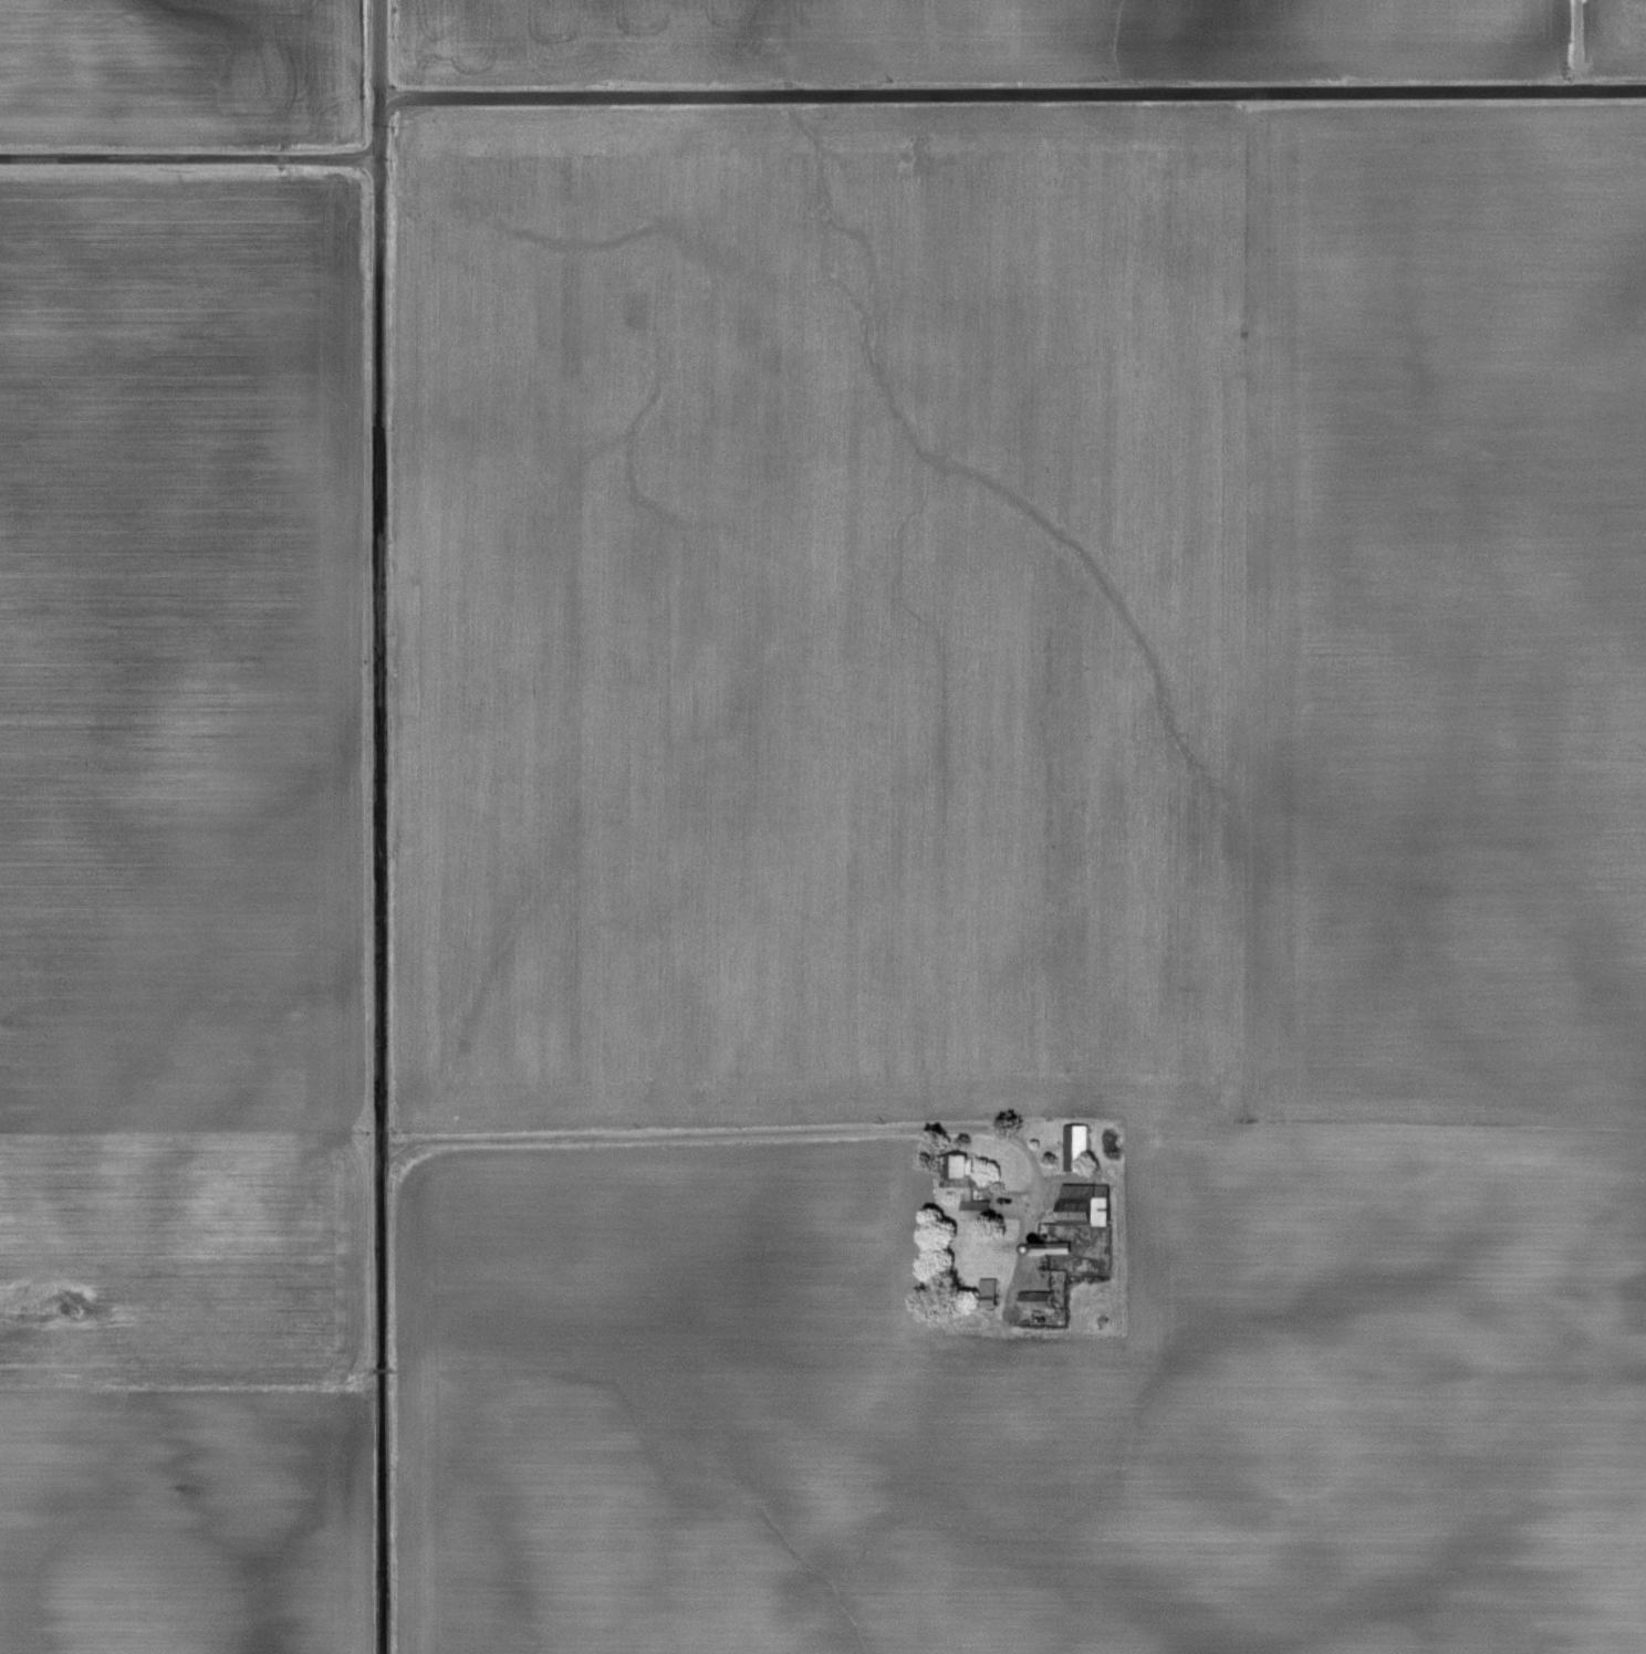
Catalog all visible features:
road: (1573, 45)
road: (374, 49)
road: (1010, 94)
road: (374, 125)
road: (186, 155)
road: (376, 902)
road: (735, 1134)
building: (1072, 1142)
building: (961, 1183)
building: (1081, 1203)
building: (985, 1290)
building: (1031, 1298)

